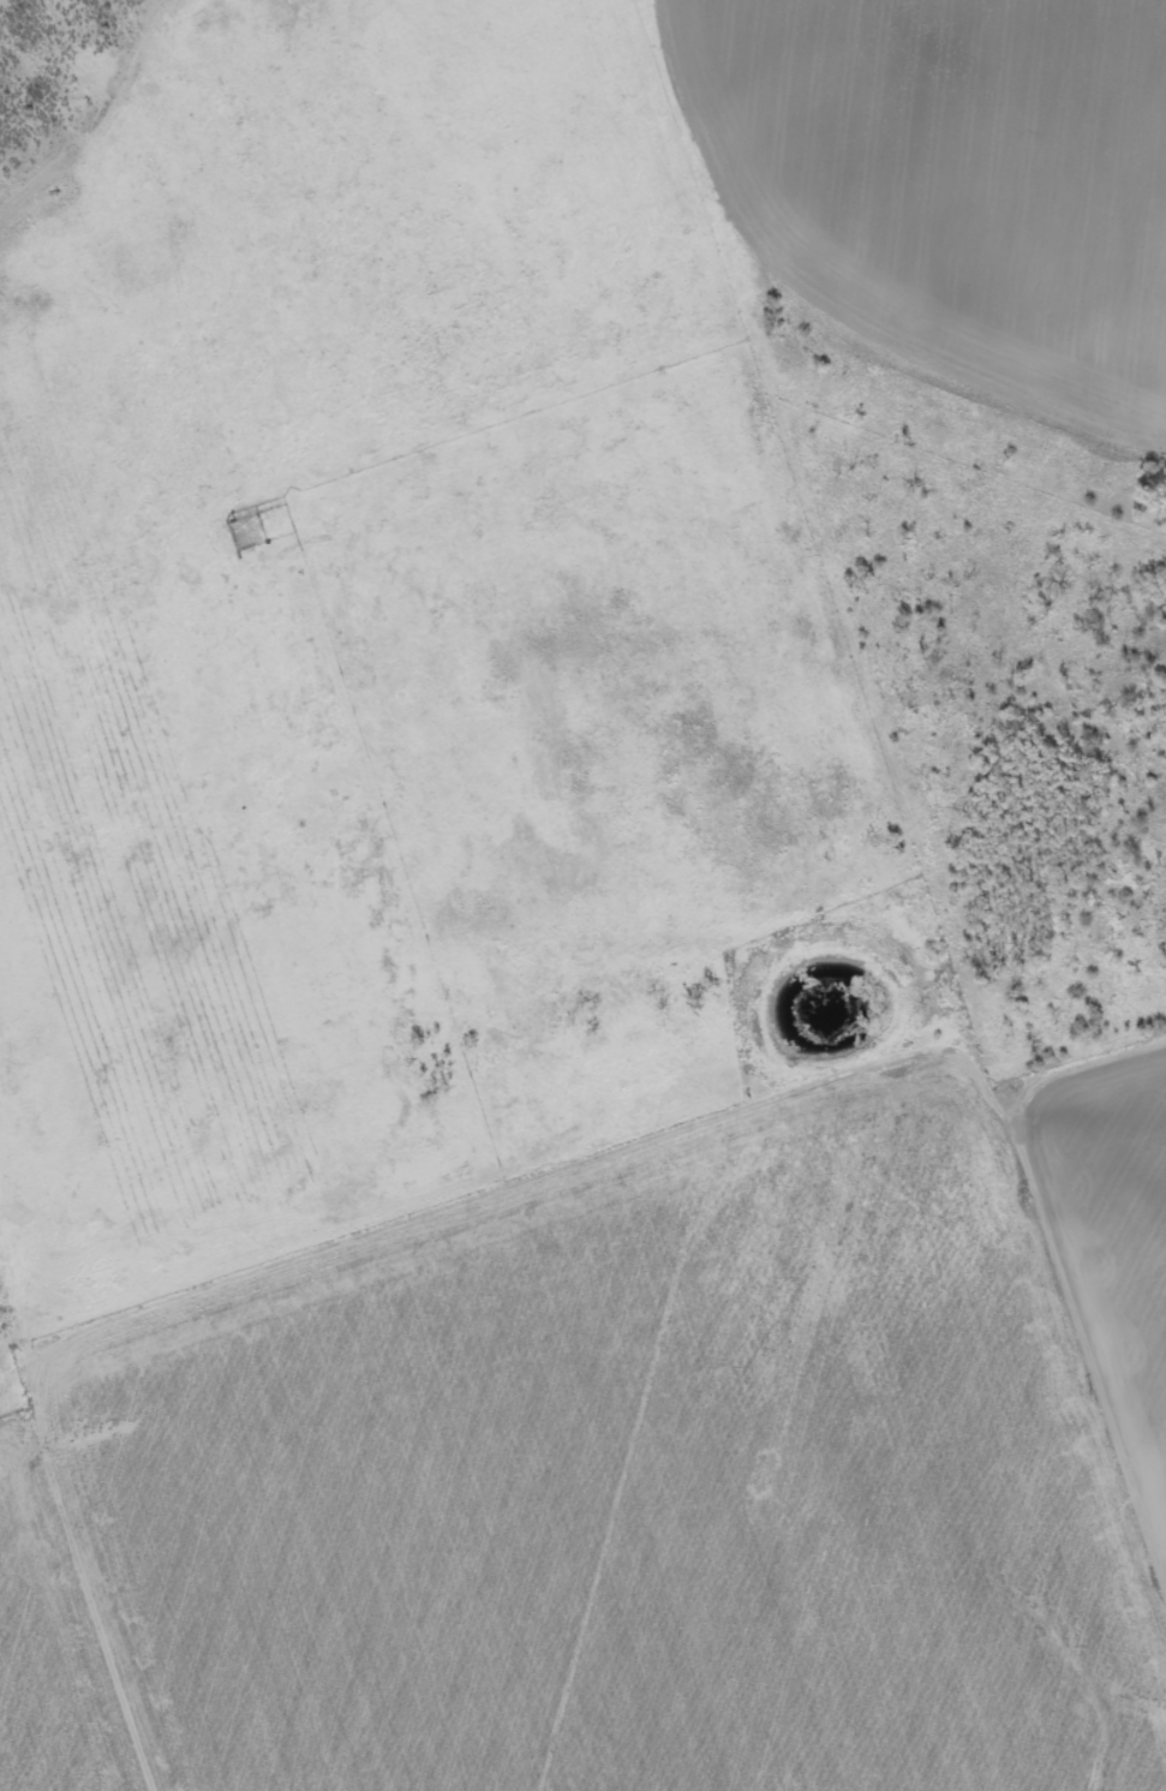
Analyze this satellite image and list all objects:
road: (297, 1279)

